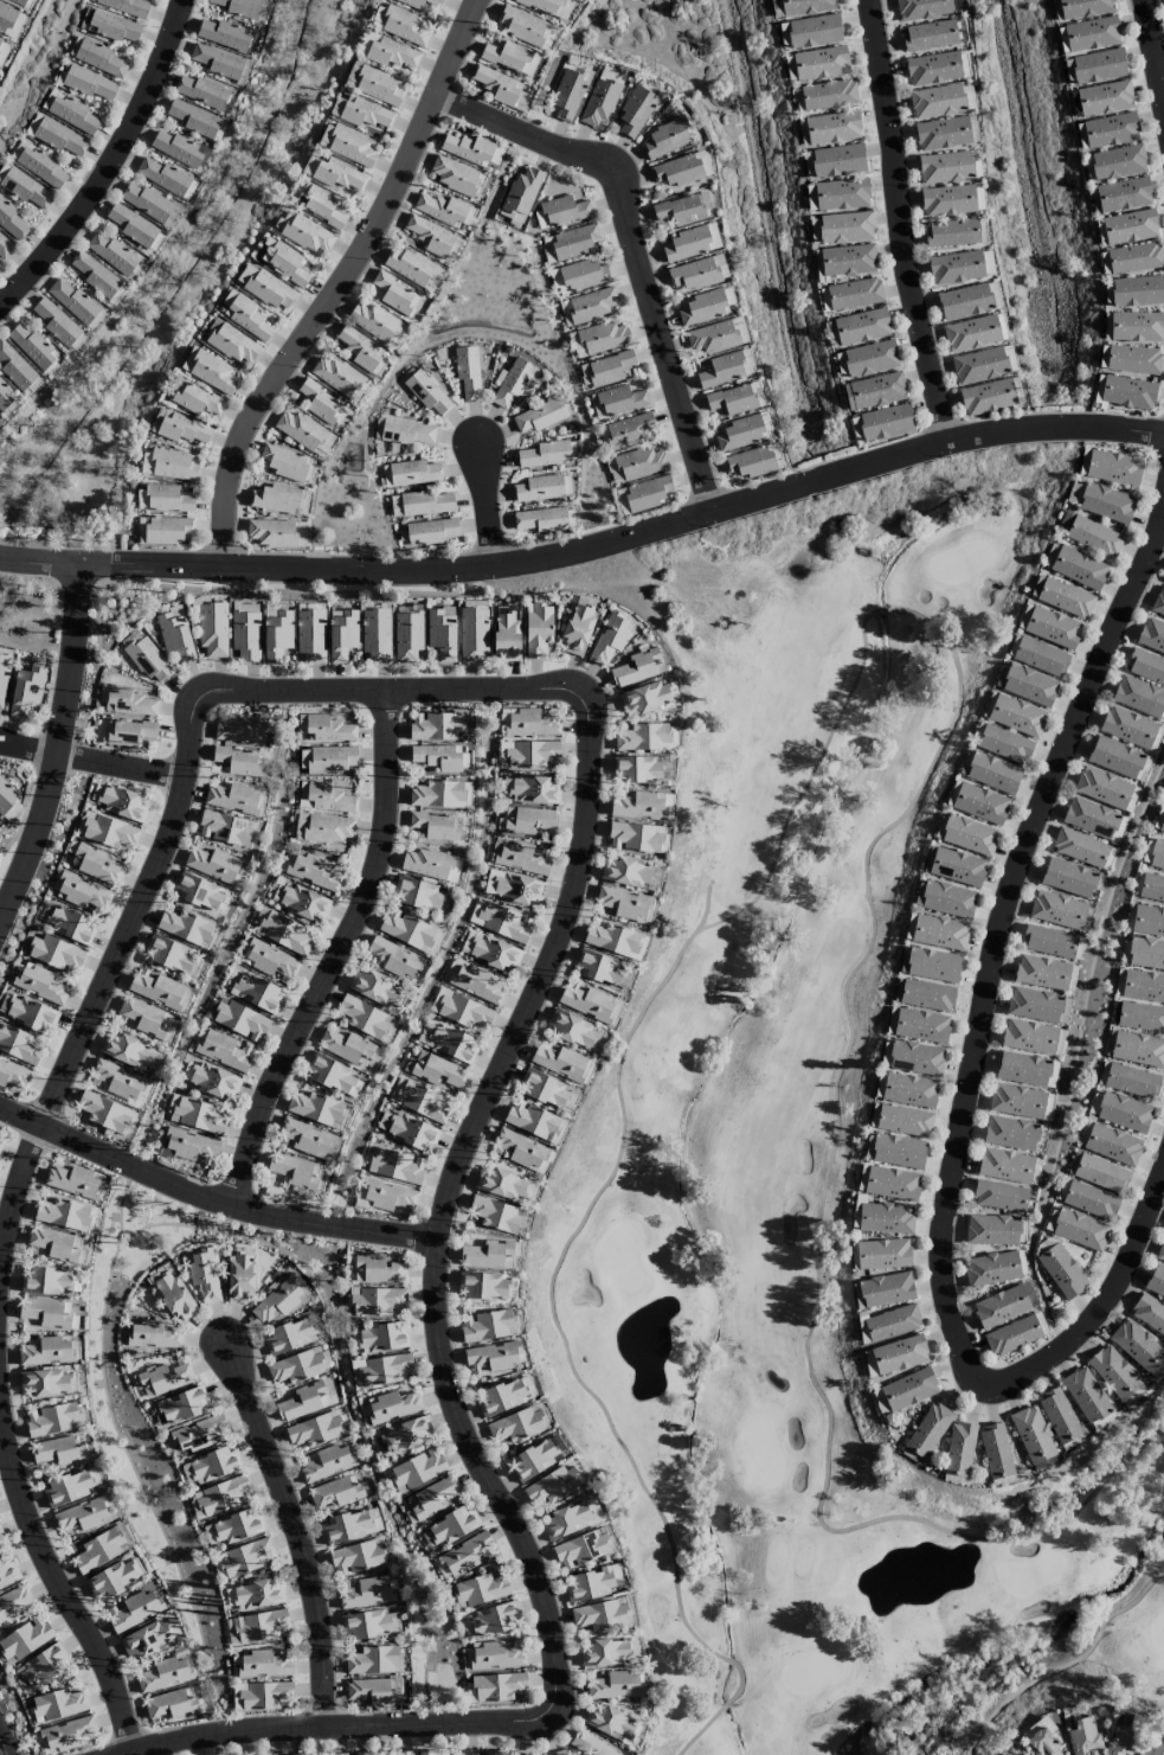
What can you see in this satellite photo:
building: (1163, 1)
building: (20, 2)
building: (419, 4)
building: (548, 6)
building: (127, 7)
building: (239, 7)
building: (805, 7)
building: (922, 8)
building: (1083, 8)
building: (378, 15)
building: (6, 18)
building: (110, 26)
building: (404, 26)
building: (526, 28)
building: (815, 31)
building: (223, 34)
building: (1091, 34)
building: (784, 36)
building: (928, 36)
building: (0, 41)
building: (391, 53)
building: (510, 57)
building: (99, 58)
road: (1151, 59)
building: (216, 60)
building: (821, 63)
building: (1098, 66)
building: (790, 68)
building: (933, 69)
building: (352, 75)
building: (89, 84)
building: (495, 84)
road: (1160, 85)
building: (378, 87)
building: (201, 92)
building: (566, 95)
building: (828, 95)
building: (521, 97)
building: (1104, 98)
building: (598, 102)
building: (937, 102)
building: (635, 111)
building: (72, 114)
building: (366, 114)
building: (192, 119)
building: (32, 124)
building: (832, 128)
building: (1111, 130)
building: (943, 134)
building: (324, 136)
building: (60, 139)
building: (664, 139)
building: (351, 147)
building: (175, 148)
building: (467, 148)
building: (837, 160)
building: (1118, 162)
building: (40, 166)
road: (111, 166)
building: (309, 166)
building: (944, 167)
building: (676, 171)
building: (337, 175)
building: (454, 175)
building: (162, 177)
building: (25, 190)
building: (841, 194)
building: (519, 196)
building: (1121, 196)
building: (947, 200)
building: (146, 201)
building: (319, 205)
building: (439, 209)
building: (679, 210)
building: (561, 211)
building: (11, 222)
road: (898, 223)
building: (130, 224)
building: (845, 228)
building: (1128, 228)
building: (951, 233)
building: (307, 235)
building: (429, 236)
building: (712, 236)
building: (568, 243)
building: (686, 244)
building: (5, 249)
building: (112, 254)
road: (634, 256)
building: (1134, 258)
building: (847, 261)
building: (986, 262)
building: (287, 263)
building: (956, 268)
building: (413, 269)
building: (94, 274)
building: (693, 274)
building: (244, 275)
building: (583, 275)
road: (340, 284)
building: (269, 290)
building: (1137, 292)
building: (394, 294)
building: (854, 294)
building: (73, 301)
building: (964, 301)
building: (589, 306)
building: (702, 307)
building: (247, 319)
building: (54, 321)
building: (373, 322)
building: (861, 327)
building: (1137, 327)
building: (971, 334)
building: (715, 337)
building: (597, 339)
building: (233, 345)
building: (31, 346)
building: (359, 347)
building: (870, 358)
building: (1133, 360)
building: (978, 365)
building: (14, 367)
building: (609, 369)
building: (721, 370)
building: (210, 371)
building: (467, 372)
building: (340, 378)
building: (513, 384)
building: (874, 391)
building: (427, 393)
building: (1127, 393)
building: (5, 397)
building: (986, 397)
building: (194, 399)
building: (731, 399)
building: (619, 401)
building: (321, 404)
building: (539, 416)
building: (886, 422)
building: (178, 428)
building: (855, 429)
building: (300, 430)
building: (628, 430)
building: (407, 433)
building: (739, 433)
building: (323, 446)
building: (544, 454)
building: (283, 462)
building: (639, 462)
building: (750, 462)
building: (1082, 462)
building: (171, 466)
building: (1113, 468)
building: (413, 473)
building: (538, 488)
building: (645, 494)
building: (167, 499)
building: (275, 499)
building: (302, 502)
building: (425, 504)
building: (1106, 504)
building: (394, 506)
road: (484, 510)
building: (541, 520)
building: (167, 530)
building: (432, 531)
building: (271, 533)
building: (301, 534)
building: (1094, 537)
road: (589, 549)
building: (1079, 569)
building: (1163, 583)
building: (1065, 598)
building: (1158, 603)
building: (1052, 628)
building: (212, 629)
building: (538, 630)
building: (577, 630)
building: (245, 635)
building: (341, 635)
building: (375, 635)
building: (440, 635)
building: (472, 635)
building: (276, 636)
building: (310, 636)
building: (407, 636)
building: (506, 636)
building: (1151, 636)
building: (175, 638)
building: (609, 638)
building: (144, 656)
building: (1040, 656)
building: (1145, 667)
building: (634, 668)
building: (2, 678)
building: (1029, 685)
building: (26, 691)
road: (450, 694)
building: (1139, 697)
building: (644, 698)
building: (128, 702)
building: (1016, 716)
building: (527, 723)
building: (436, 726)
building: (1127, 728)
building: (240, 730)
building: (329, 730)
building: (128, 732)
building: (643, 737)
building: (1004, 744)
road: (28, 751)
building: (502, 754)
building: (532, 755)
building: (437, 757)
building: (1115, 757)
road: (56, 758)
building: (326, 760)
building: (237, 762)
road: (120, 767)
building: (636, 769)
building: (992, 773)
building: (1104, 788)
building: (532, 790)
building: (436, 794)
building: (6, 795)
building: (324, 798)
building: (233, 799)
building: (120, 802)
building: (979, 803)
building: (641, 805)
building: (1089, 818)
road: (899, 819)
building: (529, 820)
building: (435, 826)
building: (1162, 826)
building: (225, 828)
building: (327, 830)
building: (108, 832)
building: (967, 835)
building: (634, 838)
building: (1079, 847)
building: (1153, 853)
building: (520, 857)
building: (426, 864)
building: (96, 865)
building: (213, 865)
building: (957, 867)
building: (313, 872)
building: (624, 872)
building: (1067, 878)
building: (512, 886)
building: (1152, 889)
building: (82, 892)
building: (198, 892)
building: (418, 893)
building: (947, 899)
building: (303, 903)
building: (622, 903)
building: (1057, 910)
building: (1147, 921)
building: (500, 922)
road: (1004, 922)
building: (71, 925)
building: (186, 928)
building: (410, 931)
road: (131, 933)
building: (939, 933)
building: (284, 934)
building: (616, 940)
building: (467, 942)
building: (1048, 942)
building: (493, 953)
building: (56, 954)
building: (1146, 954)
building: (169, 955)
road: (341, 956)
building: (392, 959)
building: (268, 960)
building: (933, 965)
building: (600, 968)
building: (1041, 973)
building: (231, 980)
building: (471, 981)
building: (39, 984)
building: (1143, 986)
building: (373, 988)
building: (156, 989)
building: (256, 993)
building: (926, 995)
building: (587, 1003)
building: (435, 1005)
building: (1034, 1005)
building: (464, 1012)
building: (32, 1013)
building: (142, 1017)
building: (361, 1017)
building: (1140, 1017)
building: (238, 1020)
building: (890, 1020)
building: (921, 1026)
building: (571, 1029)
building: (1028, 1037)
building: (452, 1043)
building: (598, 1043)
building: (18, 1045)
building: (220, 1049)
building: (349, 1050)
building: (1138, 1050)
building: (129, 1052)
building: (915, 1058)
building: (560, 1061)
building: (1022, 1069)
building: (433, 1070)
building: (329, 1074)
building: (13, 1075)
building: (210, 1080)
building: (118, 1082)
building: (1132, 1082)
building: (544, 1089)
building: (909, 1090)
building: (418, 1101)
building: (1016, 1101)
building: (1094, 1102)
building: (315, 1108)
building: (104, 1113)
building: (1124, 1113)
building: (199, 1116)
building: (532, 1121)
building: (901, 1121)
building: (409, 1130)
building: (1010, 1133)
building: (304, 1139)
building: (0, 1142)
building: (1112, 1145)
building: (188, 1147)
building: (522, 1149)
building: (898, 1151)
park: (802, 1159)
building: (395, 1166)
building: (1005, 1166)
building: (290, 1172)
building: (1098, 1173)
building: (862, 1178)
building: (73, 1181)
building: (501, 1184)
building: (892, 1184)
building: (999, 1196)
building: (390, 1197)
road: (212, 1198)
building: (1089, 1200)
building: (856, 1209)
building: (62, 1213)
building: (496, 1215)
building: (886, 1218)
building: (1050, 1218)
road: (440, 1229)
building: (991, 1230)
building: (1080, 1230)
building: (52, 1245)
building: (1043, 1245)
building: (483, 1251)
building: (1160, 1251)
building: (883, 1255)
building: (991, 1268)
building: (378, 1270)
building: (1061, 1272)
building: (204, 1277)
building: (239, 1279)
building: (45, 1281)
building: (1156, 1282)
building: (482, 1286)
building: (886, 1289)
building: (174, 1296)
building: (276, 1301)
building: (377, 1301)
building: (1001, 1306)
road: (1097, 1313)
building: (1149, 1313)
building: (45, 1314)
building: (892, 1322)
building: (485, 1326)
building: (153, 1336)
building: (1012, 1336)
building: (288, 1337)
building: (381, 1338)
building: (1136, 1345)
building: (47, 1352)
building: (899, 1354)
building: (491, 1358)
building: (869, 1364)
building: (296, 1366)
building: (381, 1370)
building: (1113, 1372)
building: (165, 1378)
building: (45, 1382)
building: (908, 1390)
building: (1086, 1395)
building: (500, 1397)
building: (301, 1402)
building: (184, 1405)
building: (391, 1405)
building: (1057, 1415)
building: (52, 1420)
building: (515, 1427)
building: (314, 1430)
building: (927, 1430)
building: (199, 1434)
building: (406, 1434)
building: (1031, 1434)
building: (959, 1449)
building: (57, 1452)
building: (996, 1454)
building: (534, 1460)
building: (327, 1463)
building: (214, 1465)
building: (417, 1468)
building: (552, 1486)
building: (67, 1488)
building: (335, 1493)
building: (224, 1495)
building: (433, 1497)
building: (82, 1514)
building: (571, 1519)
building: (452, 1525)
building: (346, 1526)
building: (238, 1527)
road: (297, 1533)
building: (1, 1537)
building: (580, 1548)
building: (96, 1550)
building: (465, 1555)
building: (356, 1557)
building: (244, 1558)
road: (675, 1568)
building: (8, 1574)
building: (111, 1578)
building: (589, 1584)
road: (60, 1586)
building: (481, 1589)
building: (366, 1593)
building: (257, 1594)
building: (13, 1602)
building: (598, 1614)
building: (490, 1620)
building: (367, 1623)
building: (258, 1626)
building: (25, 1638)
building: (146, 1638)
building: (603, 1652)
building: (495, 1657)
building: (373, 1660)
building: (44, 1664)
building: (264, 1664)
road: (1066, 1665)
building: (165, 1674)
building: (615, 1685)
building: (497, 1686)
building: (372, 1692)
building: (261, 1696)
building: (59, 1704)
building: (172, 1704)
building: (609, 1723)
building: (1036, 1728)
road: (306, 1730)
building: (64, 1735)
building: (1083, 1736)
building: (1119, 1741)
building: (587, 1744)
building: (1042, 1744)
road: (2, 1747)
building: (1152, 1749)
building: (430, 1753)
building: (463, 1753)
building: (297, 1754)
building: (337, 1754)
building: (366, 1754)
building: (401, 1754)
building: (495, 1754)
building: (558, 1754)
building: (1005, 1754)

